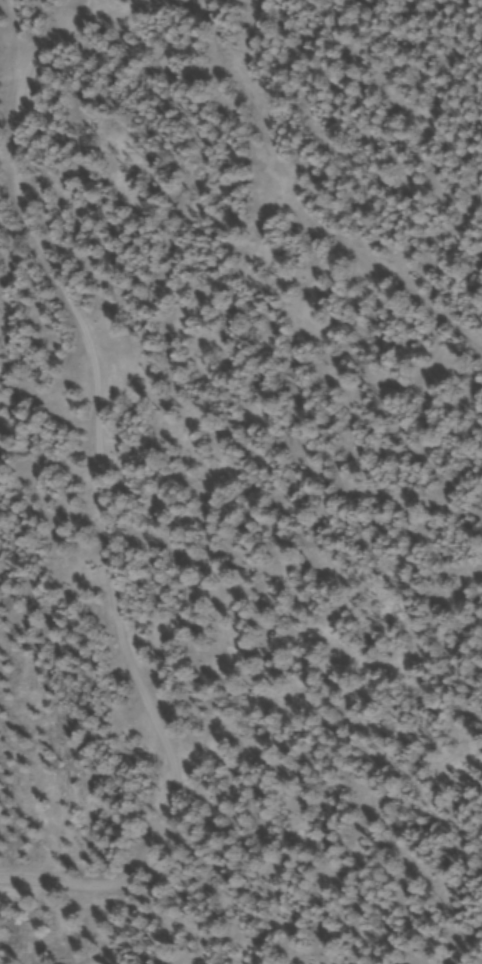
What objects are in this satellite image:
road: (91, 463)

